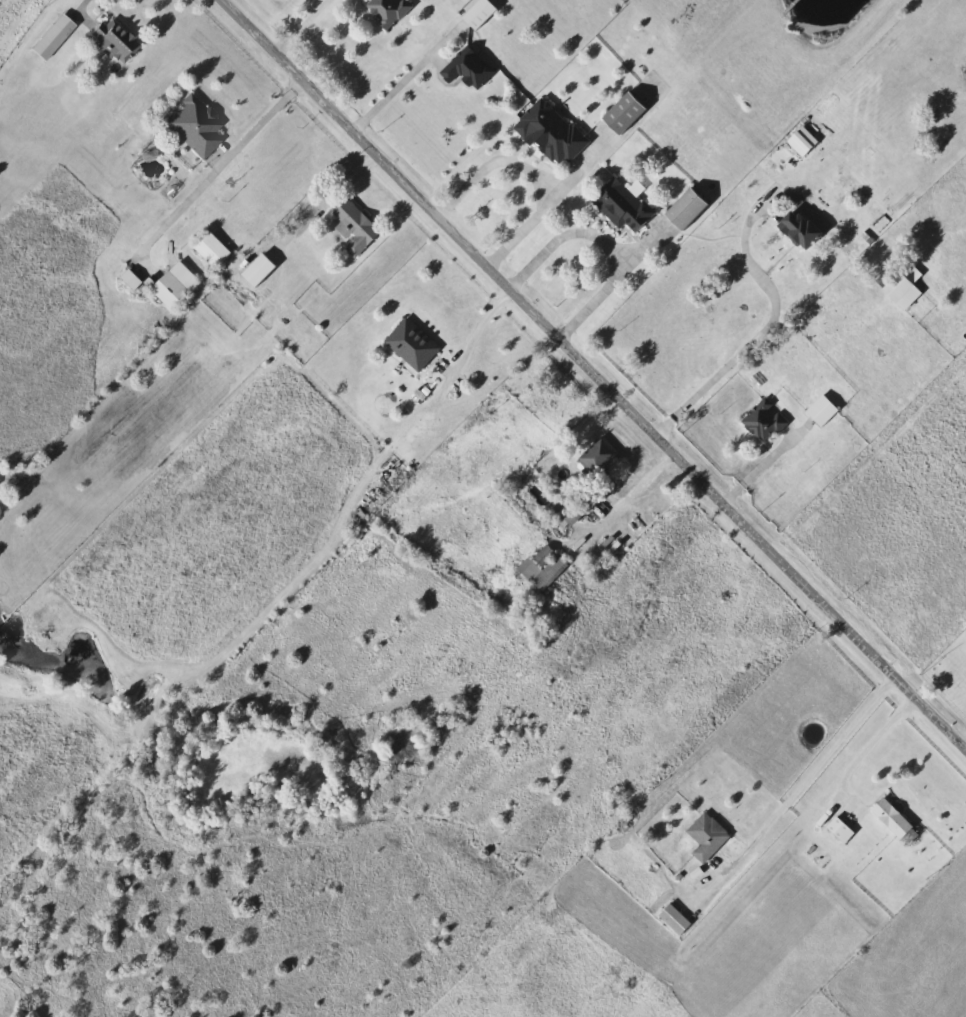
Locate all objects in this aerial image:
road: (83, 5)
building: (384, 11)
building: (475, 13)
road: (302, 25)
building: (47, 37)
building: (113, 40)
building: (465, 68)
road: (407, 77)
building: (191, 126)
building: (547, 132)
building: (799, 141)
road: (532, 171)
road: (216, 174)
road: (331, 195)
building: (618, 205)
building: (680, 209)
building: (350, 226)
building: (797, 229)
road: (605, 242)
building: (208, 249)
building: (253, 270)
building: (127, 279)
building: (170, 285)
building: (901, 288)
road: (477, 330)
building: (409, 344)
road: (729, 364)
road: (596, 374)
building: (819, 411)
building: (762, 421)
building: (595, 458)
road: (660, 467)
road: (760, 469)
road: (615, 505)
building: (539, 568)
road: (964, 742)
road: (868, 746)
road: (809, 777)
building: (888, 818)
building: (835, 828)
building: (704, 837)
building: (671, 919)

